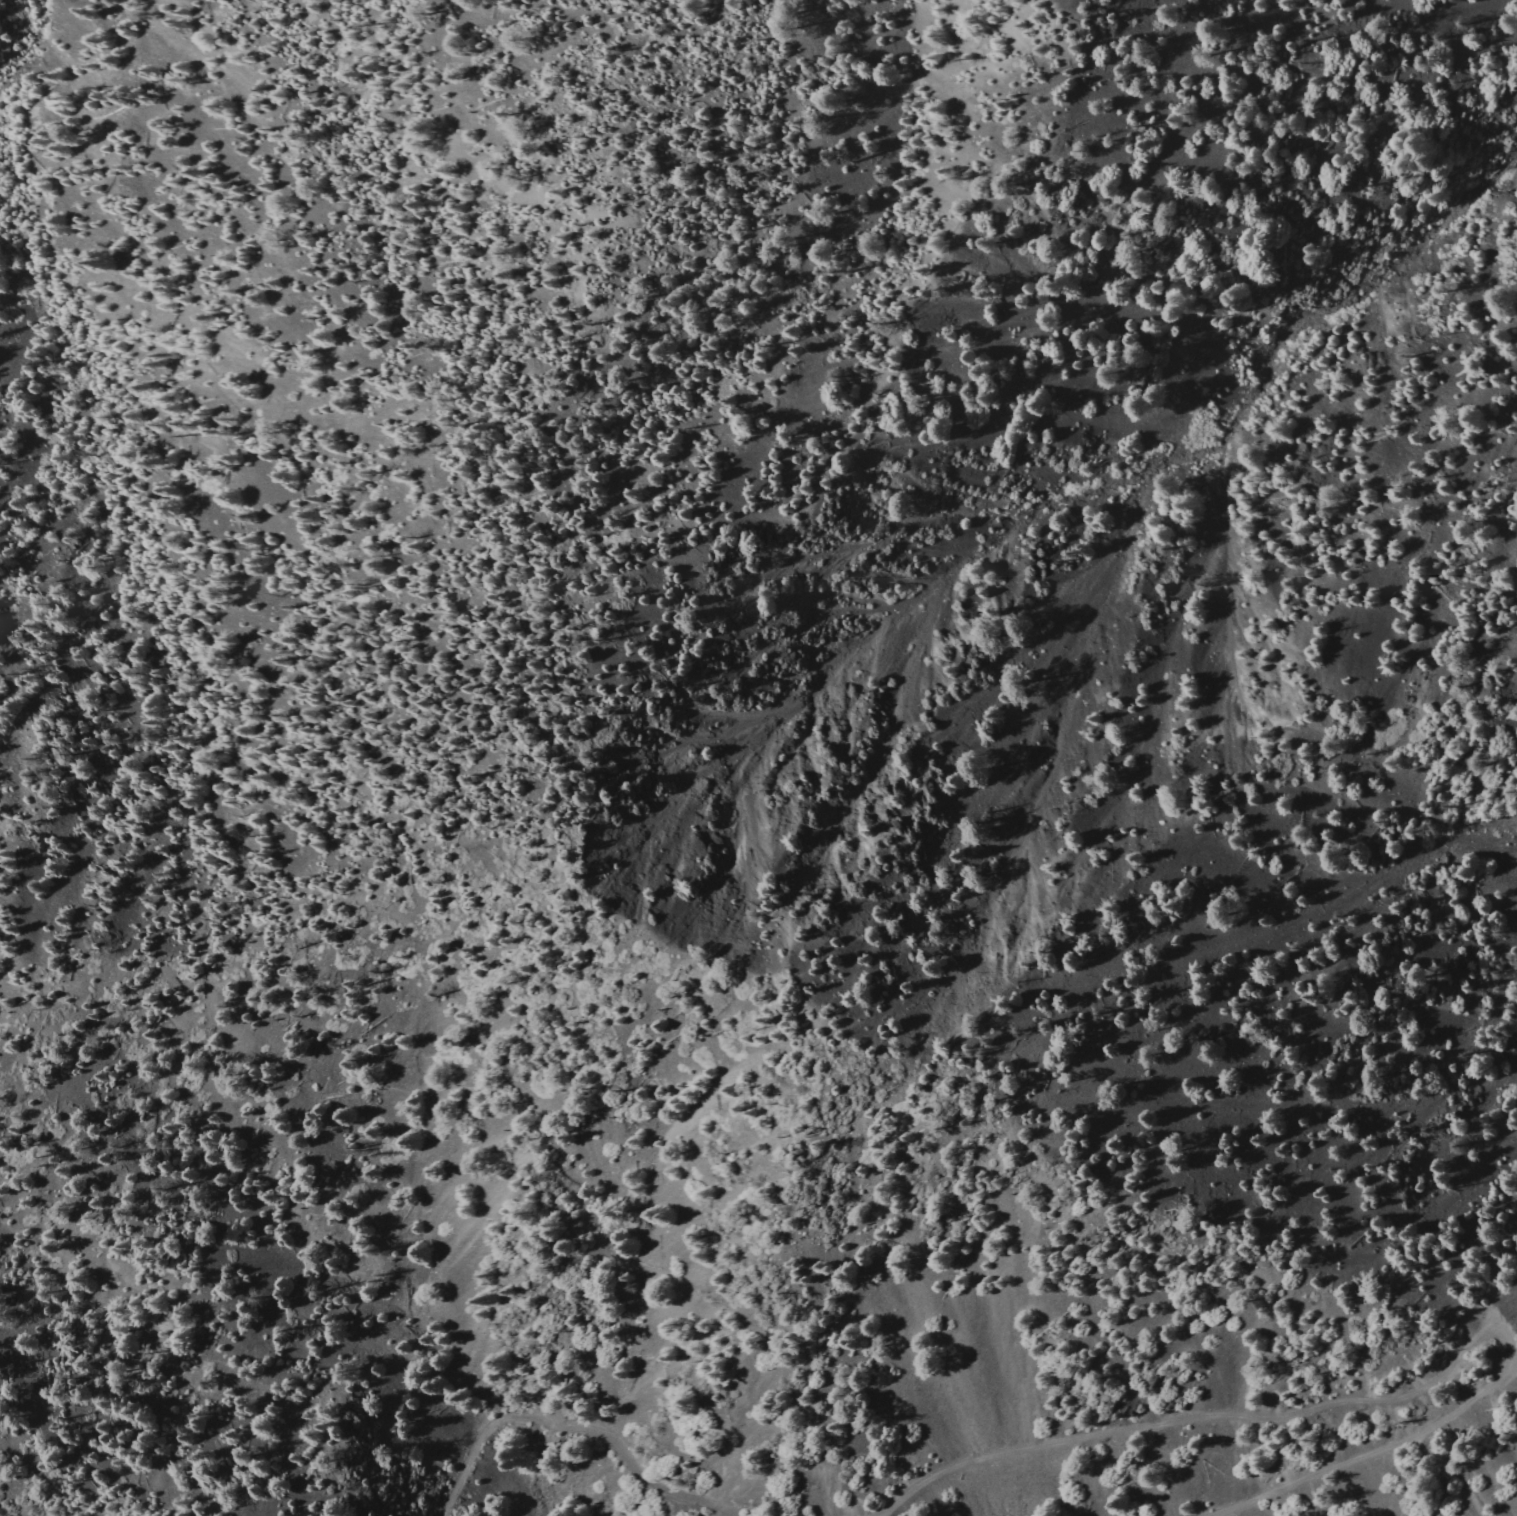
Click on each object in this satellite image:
road: (1378, 1402)
road: (571, 1427)

